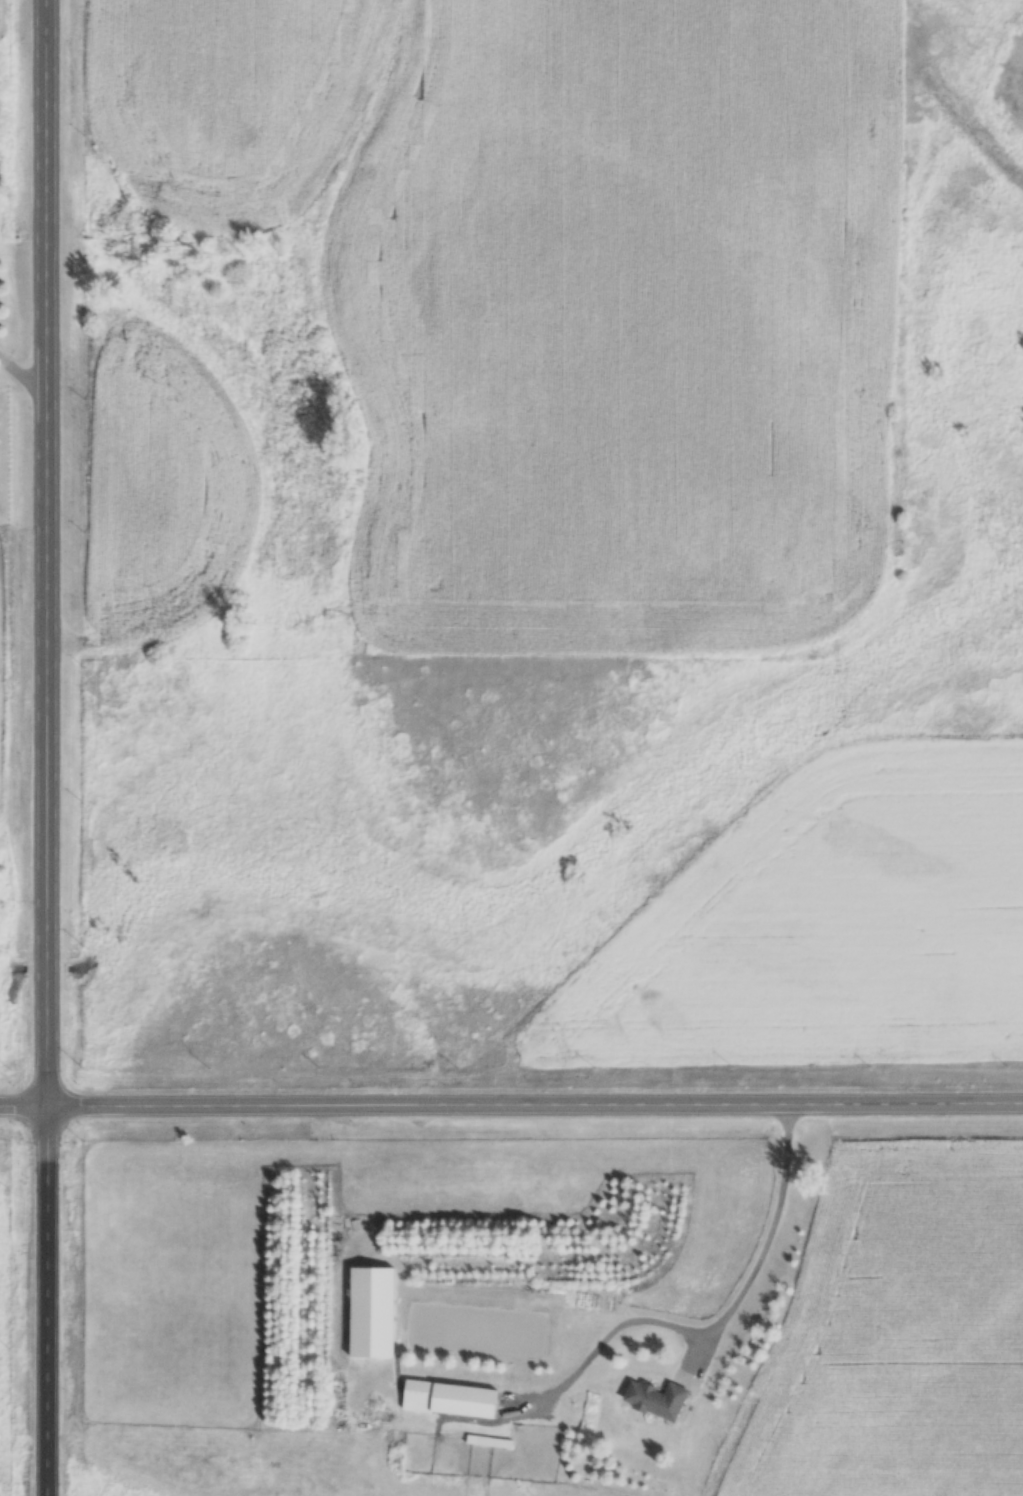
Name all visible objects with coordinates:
road: (27, 381)
road: (55, 747)
road: (511, 1103)
road: (767, 1243)
building: (373, 1311)
building: (450, 1398)
building: (659, 1399)

